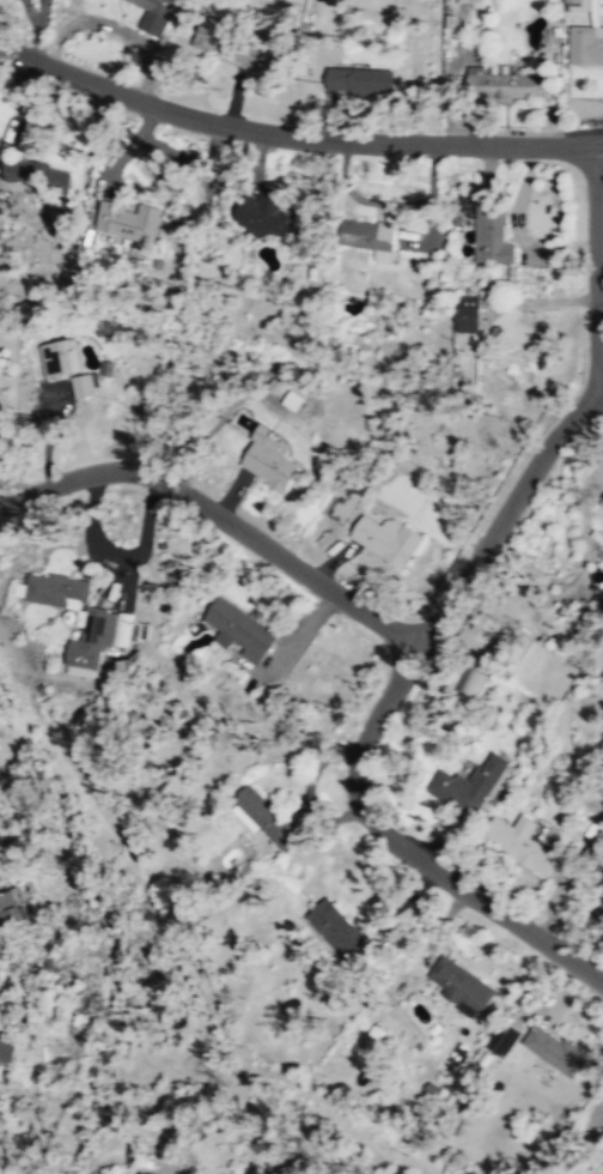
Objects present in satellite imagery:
building: (578, 5)
building: (154, 14)
road: (114, 26)
building: (223, 38)
building: (585, 46)
building: (359, 80)
building: (504, 84)
road: (292, 139)
road: (601, 141)
building: (32, 174)
building: (267, 217)
building: (123, 222)
building: (492, 230)
building: (370, 236)
building: (467, 313)
building: (56, 357)
building: (83, 383)
road: (599, 385)
road: (577, 416)
building: (268, 459)
building: (602, 507)
road: (219, 515)
building: (386, 538)
building: (55, 588)
building: (239, 629)
building: (91, 637)
building: (470, 683)
road: (380, 710)
building: (467, 783)
building: (264, 815)
building: (519, 842)
building: (601, 889)
road: (467, 892)
building: (8, 906)
building: (333, 927)
building: (459, 985)
building: (502, 1039)
building: (553, 1048)
building: (7, 1049)

